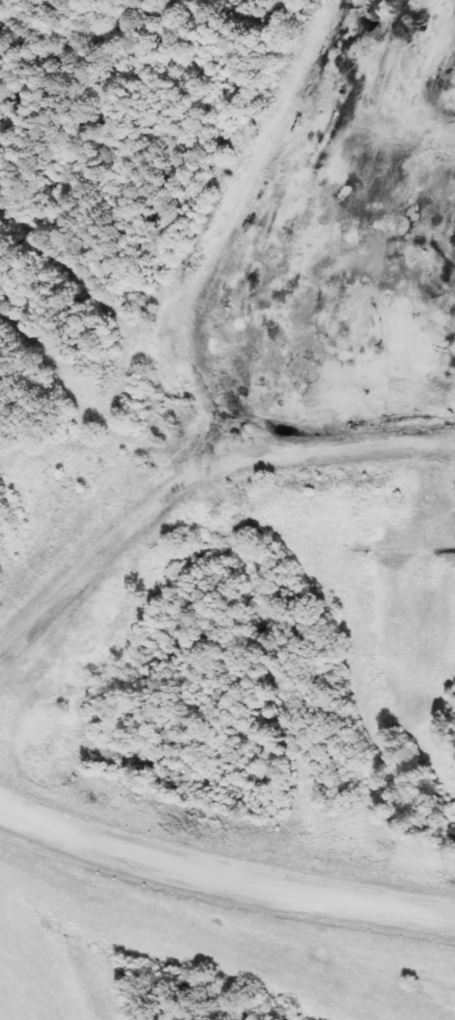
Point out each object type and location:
road: (222, 878)

